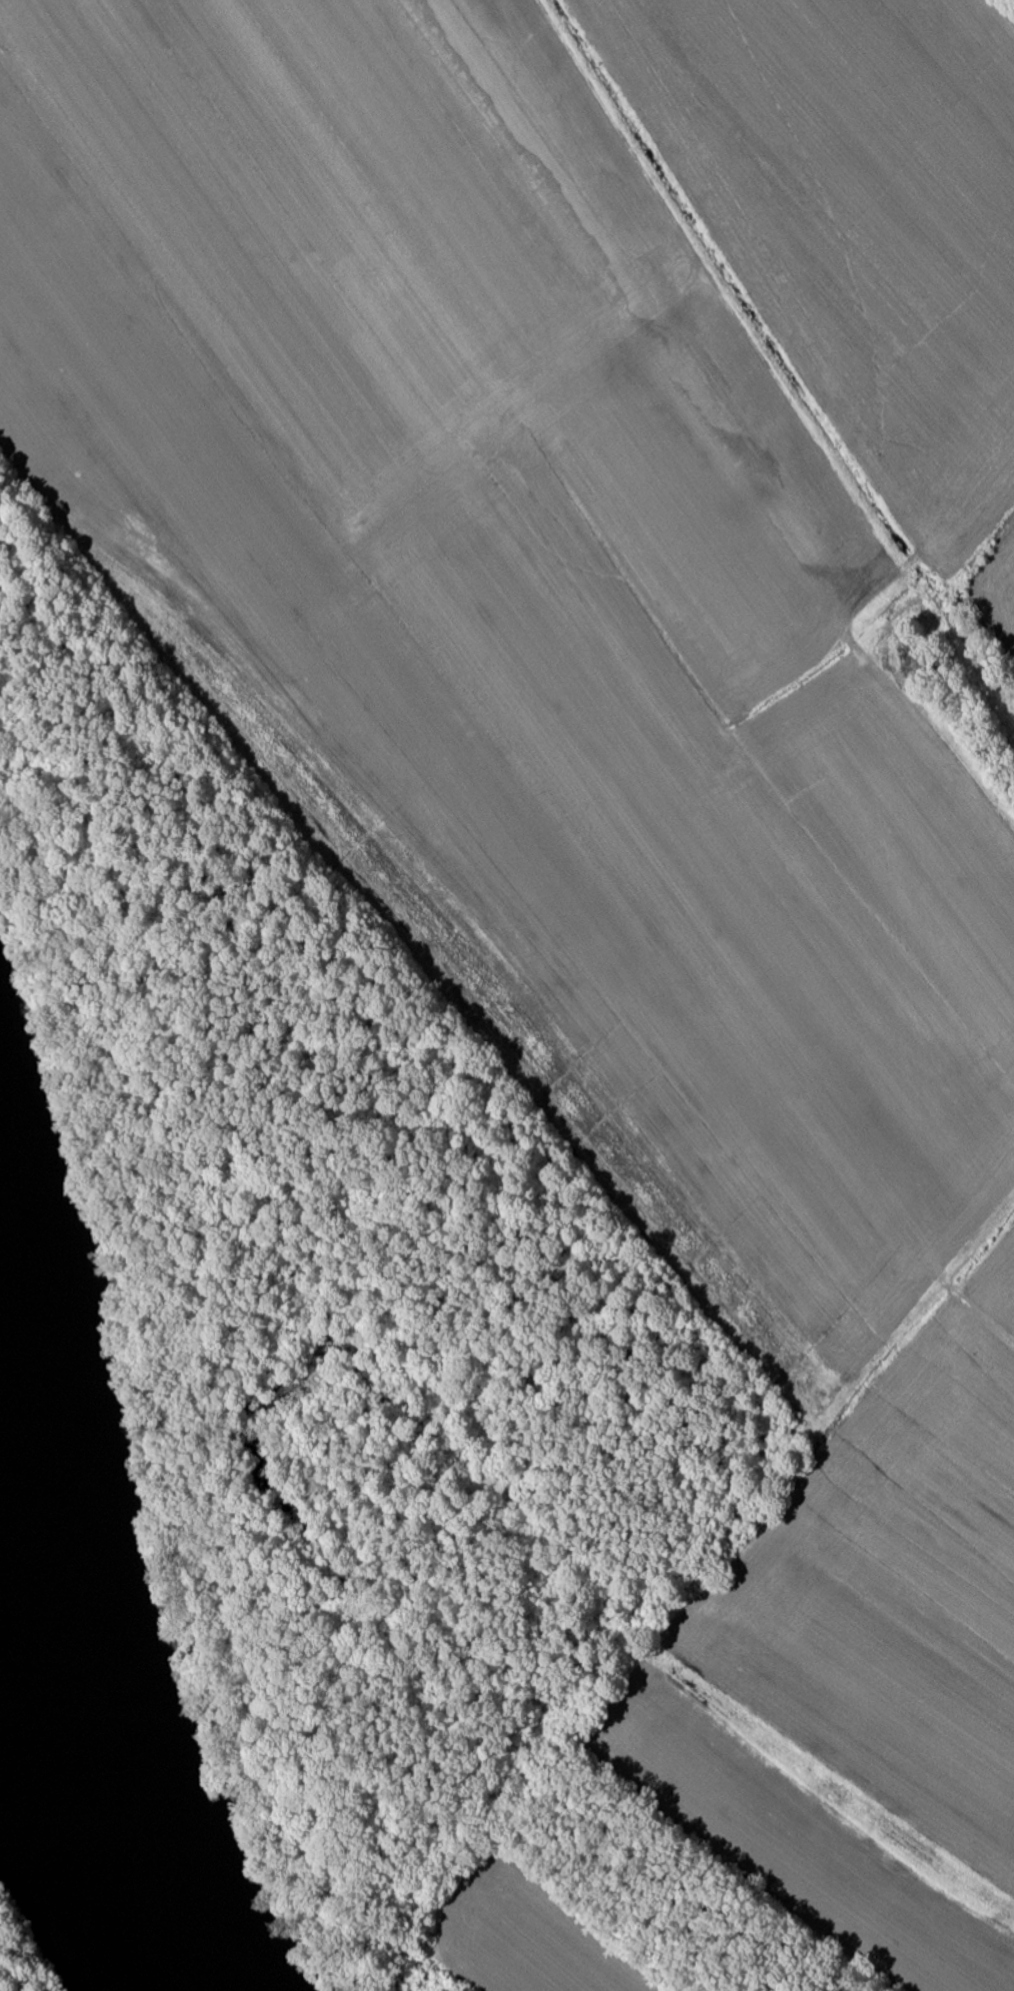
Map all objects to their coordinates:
river: (73, 1784)

